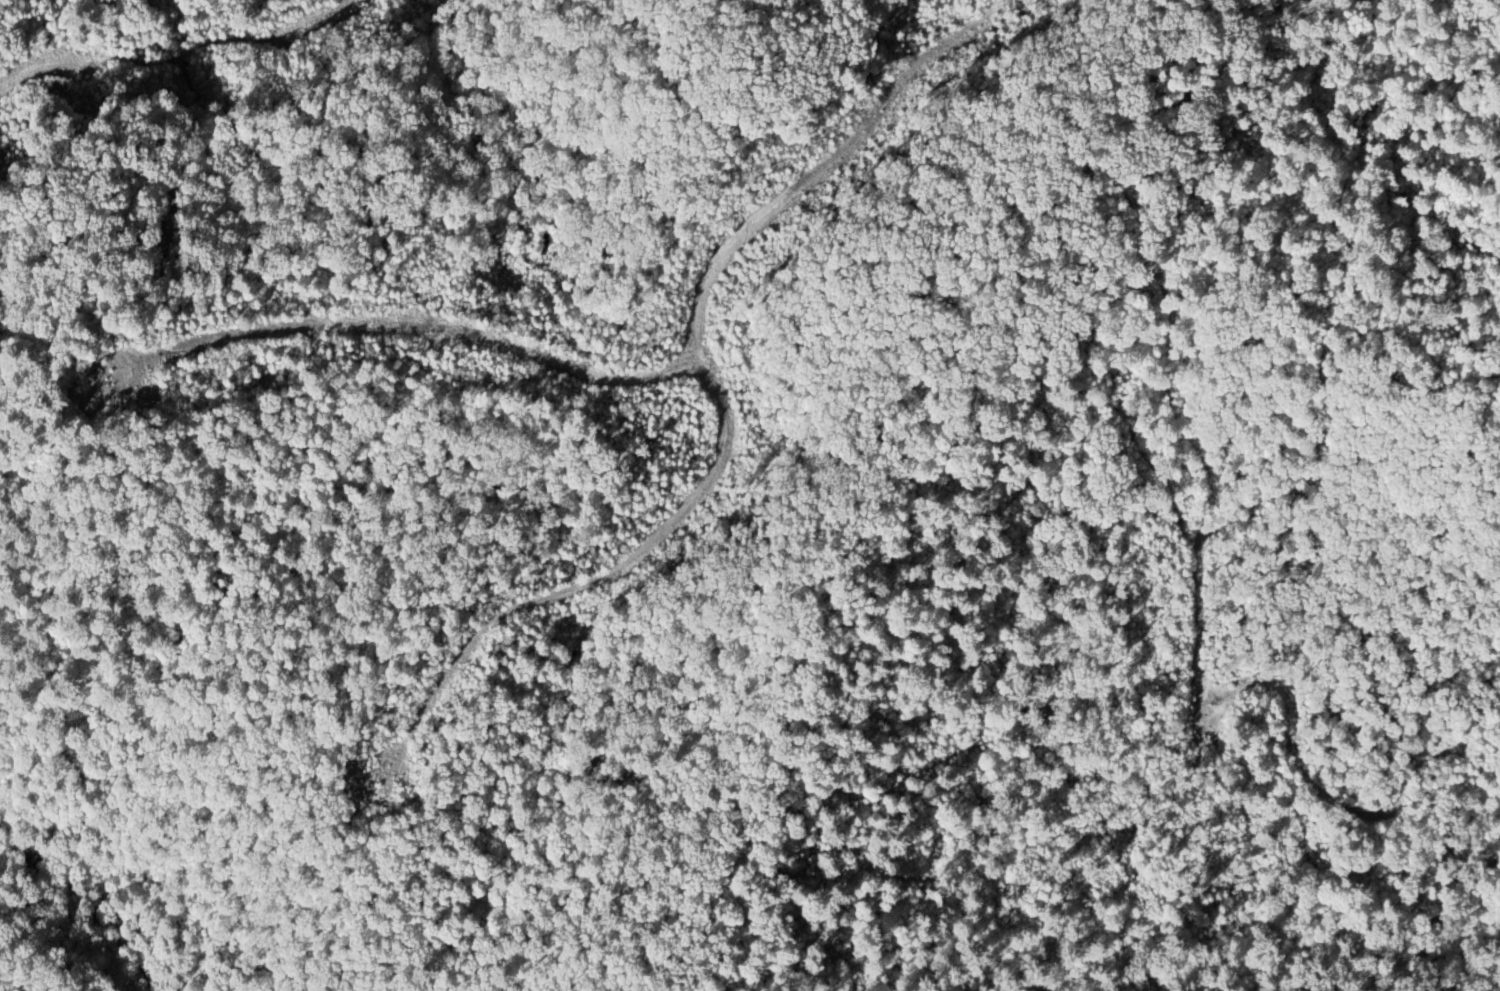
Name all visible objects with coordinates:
road: (177, 73)
road: (402, 326)
road: (726, 413)

